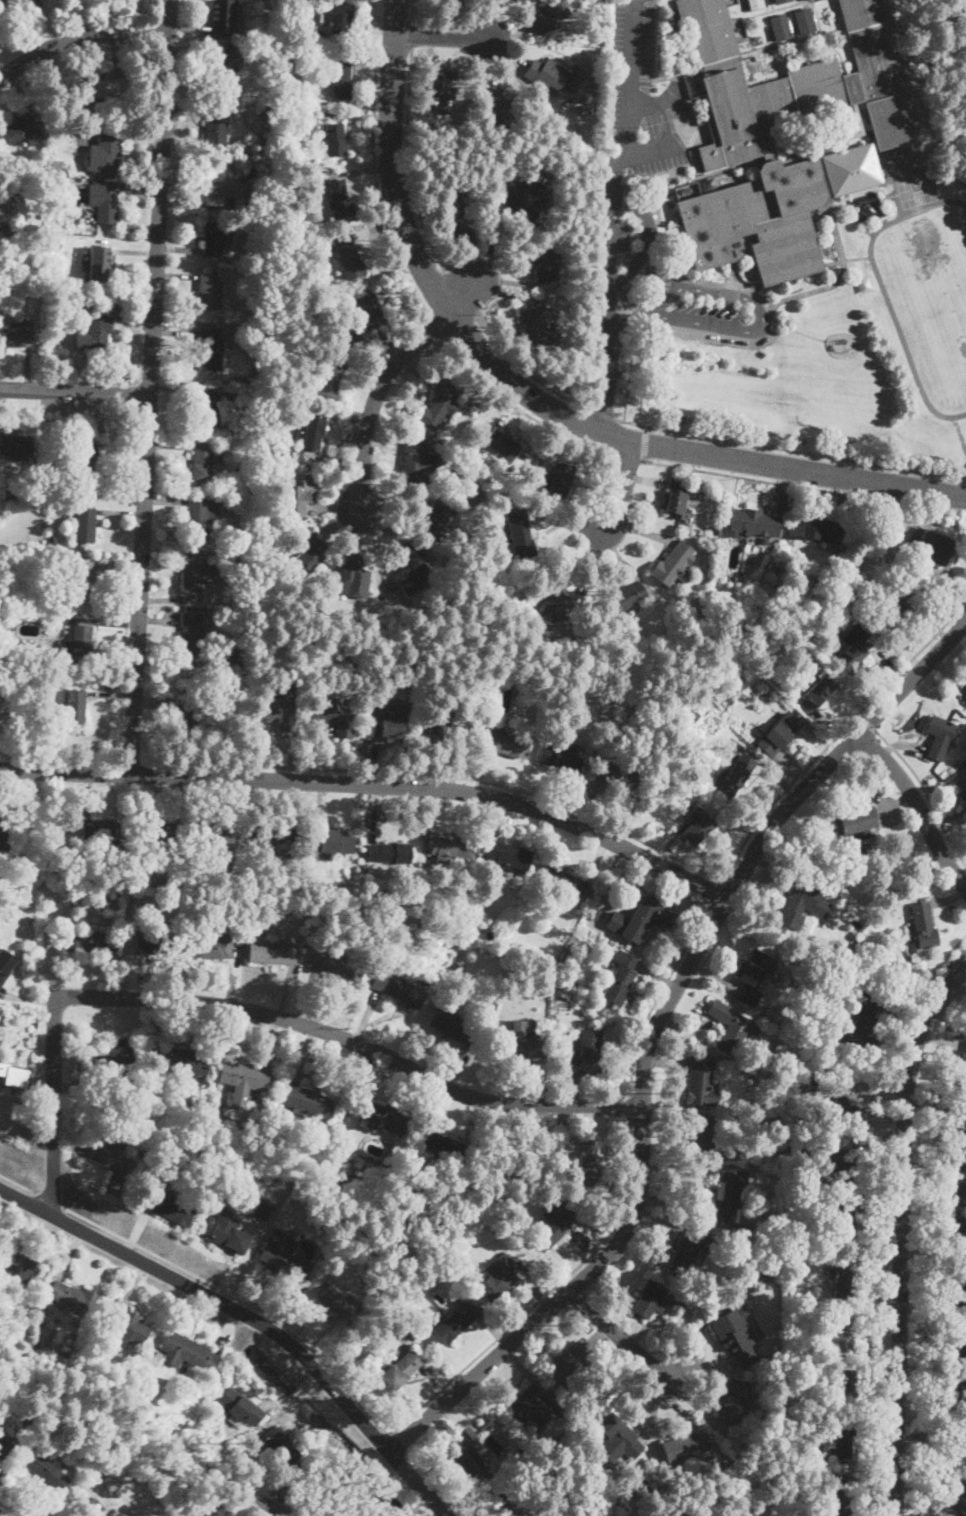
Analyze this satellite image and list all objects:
building: (450, 1)
building: (779, 1)
building: (755, 3)
building: (12, 9)
road: (414, 11)
building: (225, 15)
building: (550, 15)
building: (339, 16)
building: (804, 21)
building: (780, 27)
building: (319, 35)
road: (412, 36)
road: (441, 37)
road: (77, 39)
building: (874, 48)
building: (285, 50)
building: (228, 67)
building: (546, 73)
building: (340, 77)
road: (632, 78)
building: (577, 85)
building: (442, 87)
building: (104, 88)
parking lot: (641, 97)
road: (652, 105)
building: (269, 106)
building: (305, 108)
building: (496, 109)
building: (582, 112)
building: (857, 117)
building: (892, 120)
building: (217, 123)
building: (457, 128)
building: (23, 132)
building: (335, 140)
road: (653, 149)
building: (108, 150)
building: (762, 156)
road: (411, 163)
road: (375, 170)
building: (708, 183)
building: (222, 187)
building: (686, 189)
building: (338, 198)
building: (102, 201)
building: (522, 203)
building: (456, 215)
building: (822, 216)
building: (10, 233)
parking lot: (621, 236)
building: (213, 238)
road: (647, 239)
building: (56, 242)
building: (305, 246)
building: (350, 255)
road: (849, 260)
building: (98, 263)
building: (544, 264)
building: (252, 275)
building: (864, 284)
building: (210, 291)
road: (610, 292)
road: (729, 293)
road: (459, 295)
road: (465, 297)
track: (929, 297)
park: (931, 297)
road: (778, 304)
building: (367, 309)
road: (762, 311)
parking lot: (705, 313)
road: (627, 324)
building: (539, 327)
building: (98, 331)
building: (14, 333)
building: (355, 336)
building: (249, 346)
building: (210, 348)
road: (526, 371)
road: (630, 376)
building: (324, 381)
building: (572, 385)
road: (148, 386)
road: (74, 390)
building: (245, 395)
road: (535, 396)
road: (375, 398)
building: (207, 405)
building: (437, 409)
road: (603, 416)
road: (647, 428)
road: (961, 429)
building: (312, 435)
building: (502, 442)
building: (17, 446)
road: (645, 446)
road: (792, 450)
building: (284, 454)
building: (202, 461)
building: (91, 462)
building: (412, 469)
road: (743, 477)
building: (564, 480)
building: (53, 483)
road: (621, 486)
building: (239, 490)
building: (300, 492)
building: (11, 498)
building: (0, 502)
building: (676, 502)
building: (200, 517)
building: (436, 520)
building: (753, 521)
building: (688, 523)
building: (85, 524)
building: (240, 525)
building: (717, 528)
building: (822, 529)
building: (520, 533)
building: (54, 541)
building: (231, 546)
building: (746, 546)
building: (937, 547)
building: (898, 553)
building: (309, 554)
building: (674, 564)
building: (773, 569)
building: (196, 572)
building: (351, 578)
building: (412, 579)
building: (86, 580)
building: (883, 587)
building: (624, 598)
building: (555, 602)
building: (895, 609)
building: (192, 633)
building: (80, 642)
building: (854, 648)
building: (233, 649)
building: (219, 685)
building: (466, 688)
building: (821, 690)
building: (965, 696)
building: (278, 708)
building: (82, 710)
building: (692, 715)
building: (334, 716)
building: (187, 720)
road: (868, 722)
building: (387, 723)
building: (442, 726)
building: (686, 732)
building: (779, 733)
building: (939, 736)
building: (505, 744)
building: (560, 760)
building: (669, 774)
building: (737, 774)
building: (619, 777)
building: (962, 784)
road: (375, 785)
building: (678, 788)
road: (927, 793)
road: (915, 806)
building: (849, 822)
building: (9, 829)
building: (98, 829)
building: (697, 829)
building: (212, 831)
building: (155, 832)
building: (263, 836)
building: (325, 846)
building: (450, 848)
building: (388, 852)
building: (504, 855)
road: (674, 857)
building: (51, 870)
building: (565, 882)
road: (717, 892)
building: (129, 895)
building: (804, 902)
building: (596, 913)
building: (639, 919)
building: (923, 925)
building: (88, 942)
building: (153, 942)
building: (212, 944)
building: (864, 946)
building: (273, 951)
building: (914, 954)
building: (337, 963)
building: (5, 966)
building: (754, 975)
building: (620, 978)
building: (399, 986)
road: (659, 996)
road: (245, 1010)
building: (861, 1020)
building: (452, 1024)
building: (733, 1027)
road: (655, 1033)
building: (519, 1041)
building: (588, 1052)
building: (115, 1059)
building: (188, 1062)
building: (962, 1070)
building: (13, 1076)
building: (244, 1080)
building: (701, 1084)
building: (178, 1098)
building: (305, 1100)
road: (630, 1108)
building: (847, 1112)
building: (386, 1119)
building: (274, 1122)
building: (960, 1126)
building: (699, 1137)
building: (528, 1142)
building: (170, 1145)
building: (441, 1145)
building: (593, 1156)
building: (417, 1164)
building: (845, 1166)
building: (116, 1167)
building: (328, 1176)
building: (960, 1181)
building: (729, 1194)
building: (169, 1208)
building: (260, 1208)
road: (890, 1216)
building: (503, 1217)
building: (845, 1222)
building: (798, 1224)
road: (904, 1226)
building: (553, 1229)
building: (357, 1233)
building: (227, 1235)
building: (470, 1237)
building: (806, 1237)
building: (958, 1239)
building: (281, 1254)
building: (685, 1254)
building: (16, 1262)
building: (767, 1272)
building: (499, 1279)
building: (844, 1279)
building: (752, 1285)
building: (956, 1289)
building: (704, 1291)
building: (75, 1297)
building: (652, 1299)
building: (333, 1300)
building: (459, 1316)
road: (248, 1319)
building: (124, 1330)
building: (841, 1335)
building: (735, 1337)
road: (621, 1338)
building: (29, 1345)
building: (957, 1345)
building: (188, 1352)
building: (158, 1356)
building: (570, 1361)
building: (401, 1371)
building: (847, 1394)
building: (955, 1397)
building: (529, 1402)
building: (733, 1402)
building: (241, 1406)
building: (821, 1420)
road: (389, 1430)
building: (621, 1435)
building: (843, 1440)
building: (280, 1446)
building: (684, 1446)
building: (4, 1448)
building: (954, 1452)
building: (470, 1454)
building: (48, 1472)
building: (730, 1480)
building: (303, 1490)
building: (601, 1494)
building: (834, 1495)
building: (734, 1496)
building: (572, 1498)
building: (956, 1499)
building: (510, 1503)
building: (84, 1505)
building: (273, 1510)
road: (2, 1514)

